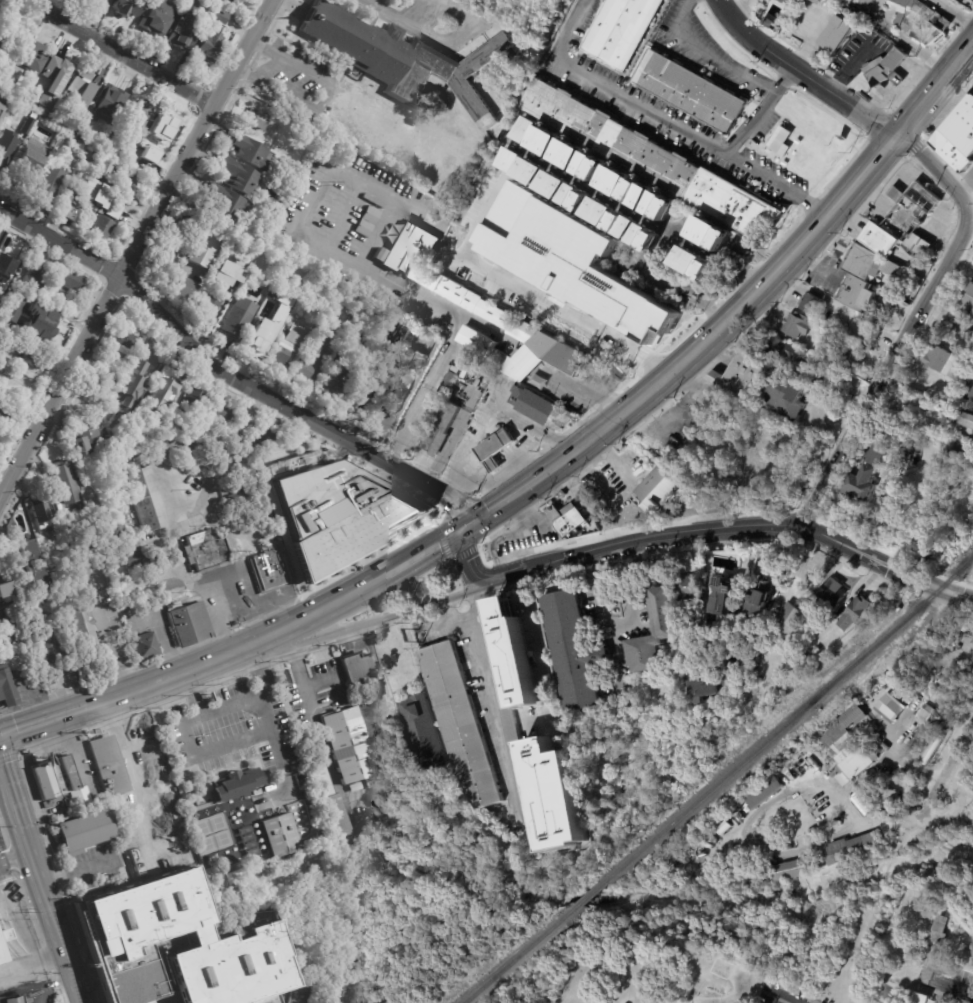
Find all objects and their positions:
building: (224, 0)
building: (235, 0)
building: (817, 1)
building: (69, 2)
building: (107, 2)
building: (784, 2)
building: (790, 2)
road: (966, 4)
building: (126, 7)
road: (734, 9)
road: (953, 13)
building: (220, 15)
building: (157, 16)
building: (917, 21)
building: (764, 23)
building: (183, 26)
building: (620, 30)
road: (811, 34)
building: (835, 34)
road: (440, 37)
road: (902, 40)
building: (1, 41)
building: (206, 47)
road: (971, 48)
road: (116, 54)
road: (704, 55)
building: (31, 57)
building: (405, 60)
building: (2, 68)
building: (884, 68)
building: (57, 72)
building: (9, 74)
road: (801, 74)
building: (79, 88)
building: (689, 92)
road: (327, 99)
building: (108, 104)
building: (510, 106)
road: (759, 112)
building: (1, 113)
building: (139, 114)
building: (58, 116)
building: (257, 119)
road: (663, 119)
building: (328, 122)
building: (163, 129)
building: (527, 129)
building: (956, 135)
building: (779, 139)
building: (547, 140)
building: (69, 145)
building: (82, 145)
building: (6, 146)
building: (33, 149)
building: (251, 153)
building: (570, 154)
building: (149, 155)
building: (514, 157)
building: (648, 157)
building: (140, 158)
building: (98, 159)
building: (594, 166)
building: (535, 168)
road: (891, 168)
building: (117, 176)
building: (82, 177)
building: (239, 177)
building: (617, 180)
building: (559, 183)
building: (49, 184)
road: (893, 188)
building: (642, 193)
building: (583, 196)
road: (968, 198)
building: (105, 202)
building: (225, 202)
building: (664, 205)
building: (68, 209)
building: (606, 209)
road: (636, 211)
road: (846, 216)
building: (910, 216)
building: (202, 218)
building: (367, 222)
building: (631, 222)
building: (102, 227)
building: (652, 235)
building: (715, 235)
building: (878, 239)
road: (60, 245)
road: (136, 248)
building: (167, 256)
building: (199, 256)
building: (10, 260)
building: (569, 260)
building: (634, 262)
building: (694, 263)
building: (68, 274)
building: (866, 283)
building: (684, 285)
building: (188, 288)
building: (223, 288)
road: (524, 294)
road: (408, 295)
road: (686, 299)
building: (811, 303)
building: (965, 303)
road: (739, 308)
building: (13, 310)
building: (479, 311)
building: (279, 318)
building: (40, 323)
building: (236, 323)
building: (797, 323)
road: (913, 325)
building: (395, 332)
building: (868, 336)
building: (256, 340)
building: (287, 344)
building: (123, 346)
building: (782, 347)
building: (314, 349)
building: (25, 353)
building: (146, 356)
building: (811, 357)
building: (359, 358)
building: (852, 362)
building: (461, 363)
building: (793, 368)
building: (949, 369)
building: (399, 370)
building: (455, 370)
building: (739, 374)
building: (809, 377)
building: (333, 378)
building: (107, 379)
building: (448, 383)
building: (167, 386)
building: (826, 389)
road: (587, 394)
building: (788, 398)
building: (193, 401)
road: (292, 408)
building: (541, 409)
building: (140, 411)
building: (222, 415)
building: (4, 418)
building: (963, 418)
building: (439, 429)
building: (84, 436)
building: (261, 437)
building: (678, 437)
building: (149, 440)
building: (495, 448)
building: (961, 449)
road: (228, 450)
building: (875, 451)
building: (633, 452)
building: (262, 458)
building: (66, 483)
building: (862, 485)
building: (661, 488)
building: (123, 491)
building: (898, 498)
building: (141, 500)
building: (237, 501)
building: (340, 515)
building: (41, 516)
building: (572, 519)
building: (108, 526)
road: (737, 527)
traffic signals: (463, 530)
road: (234, 542)
building: (132, 543)
building: (185, 545)
building: (208, 551)
road: (426, 551)
building: (139, 556)
road: (470, 562)
building: (29, 565)
road: (799, 566)
building: (271, 569)
road: (186, 570)
building: (4, 587)
road: (520, 589)
building: (690, 589)
building: (834, 590)
building: (61, 591)
building: (724, 593)
building: (763, 601)
road: (468, 602)
road: (446, 608)
building: (855, 612)
building: (128, 614)
road: (460, 614)
road: (222, 617)
building: (664, 617)
road: (380, 619)
building: (791, 619)
road: (434, 621)
building: (189, 624)
building: (5, 627)
road: (620, 627)
building: (83, 631)
road: (109, 632)
building: (953, 633)
road: (164, 635)
building: (47, 646)
building: (145, 647)
building: (757, 647)
building: (937, 647)
road: (243, 649)
building: (575, 650)
building: (816, 651)
building: (514, 652)
building: (360, 671)
road: (257, 672)
road: (380, 674)
road: (541, 676)
building: (703, 682)
building: (7, 688)
building: (878, 697)
building: (945, 699)
building: (869, 700)
road: (250, 703)
building: (891, 705)
building: (549, 710)
road: (492, 711)
building: (853, 714)
railway: (790, 718)
road: (44, 720)
building: (515, 720)
building: (463, 723)
building: (424, 732)
building: (921, 732)
building: (349, 743)
building: (150, 747)
road: (326, 748)
building: (847, 751)
road: (204, 753)
building: (910, 763)
building: (799, 764)
building: (880, 765)
building: (109, 769)
road: (951, 769)
building: (901, 775)
road: (13, 779)
building: (59, 780)
building: (371, 783)
building: (236, 784)
building: (323, 785)
building: (359, 785)
road: (150, 786)
building: (767, 793)
building: (555, 795)
building: (890, 796)
building: (867, 801)
building: (794, 805)
building: (337, 814)
building: (802, 817)
road: (877, 823)
building: (328, 829)
building: (84, 830)
building: (124, 832)
building: (280, 834)
building: (853, 848)
road: (17, 851)
road: (762, 852)
parking lot: (3, 870)
road: (78, 870)
building: (787, 870)
railway: (579, 901)
building: (106, 903)
building: (127, 909)
road: (54, 911)
road: (14, 924)
building: (940, 930)
building: (4, 934)
building: (116, 936)
building: (143, 936)
park: (846, 936)
road: (969, 946)
road: (920, 948)
building: (0, 960)
road: (33, 961)
railway: (508, 962)
building: (145, 978)
road: (47, 983)
road: (949, 983)
road: (768, 995)
building: (148, 998)
building: (14, 1000)
building: (935, 1000)
building: (162, 1001)
building: (912, 1002)
building: (942, 1002)

